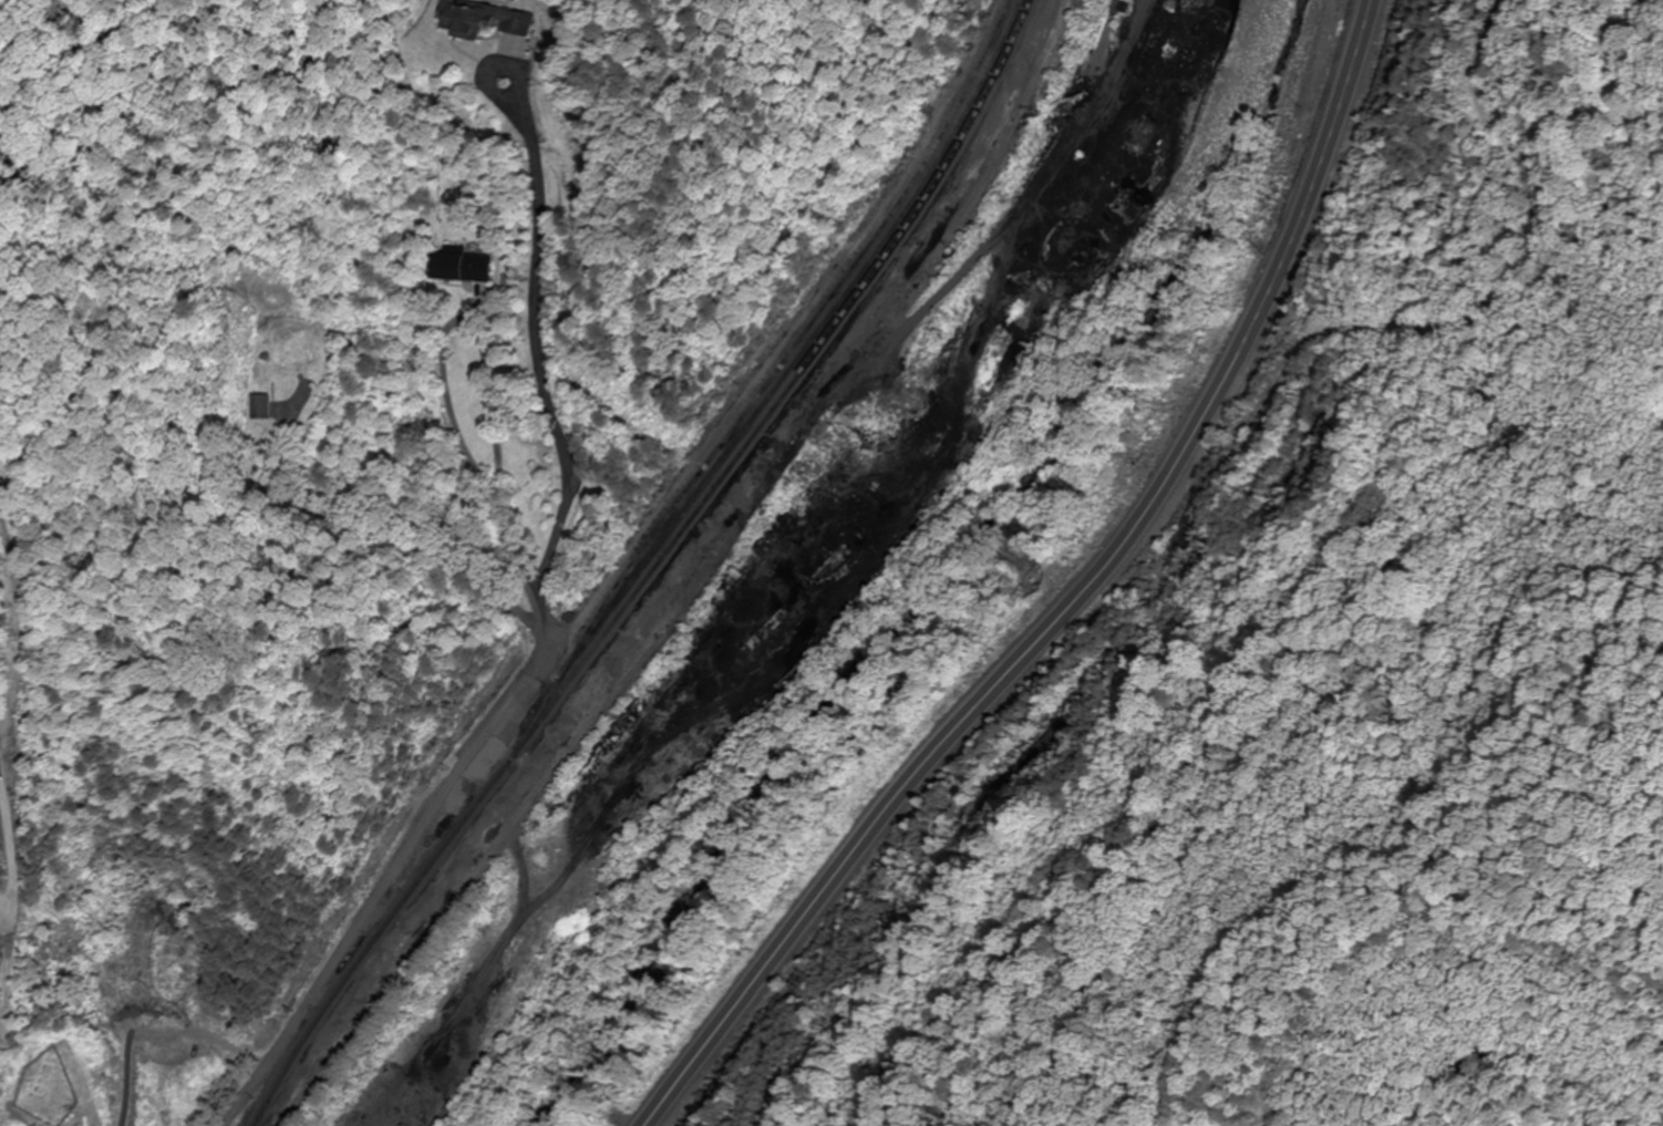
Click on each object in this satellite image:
building: (483, 20)
railway: (987, 180)
building: (461, 267)
railway: (805, 335)
road: (538, 338)
railway: (786, 376)
building: (268, 409)
building: (784, 446)
road: (485, 461)
road: (427, 550)
railway: (705, 554)
railway: (655, 568)
railway: (676, 574)
road: (1068, 601)
building: (490, 761)
railway: (526, 812)
road: (17, 835)
road: (400, 862)
road: (158, 1031)
building: (391, 1076)
park: (51, 1087)
road: (31, 1118)
building: (357, 1118)

